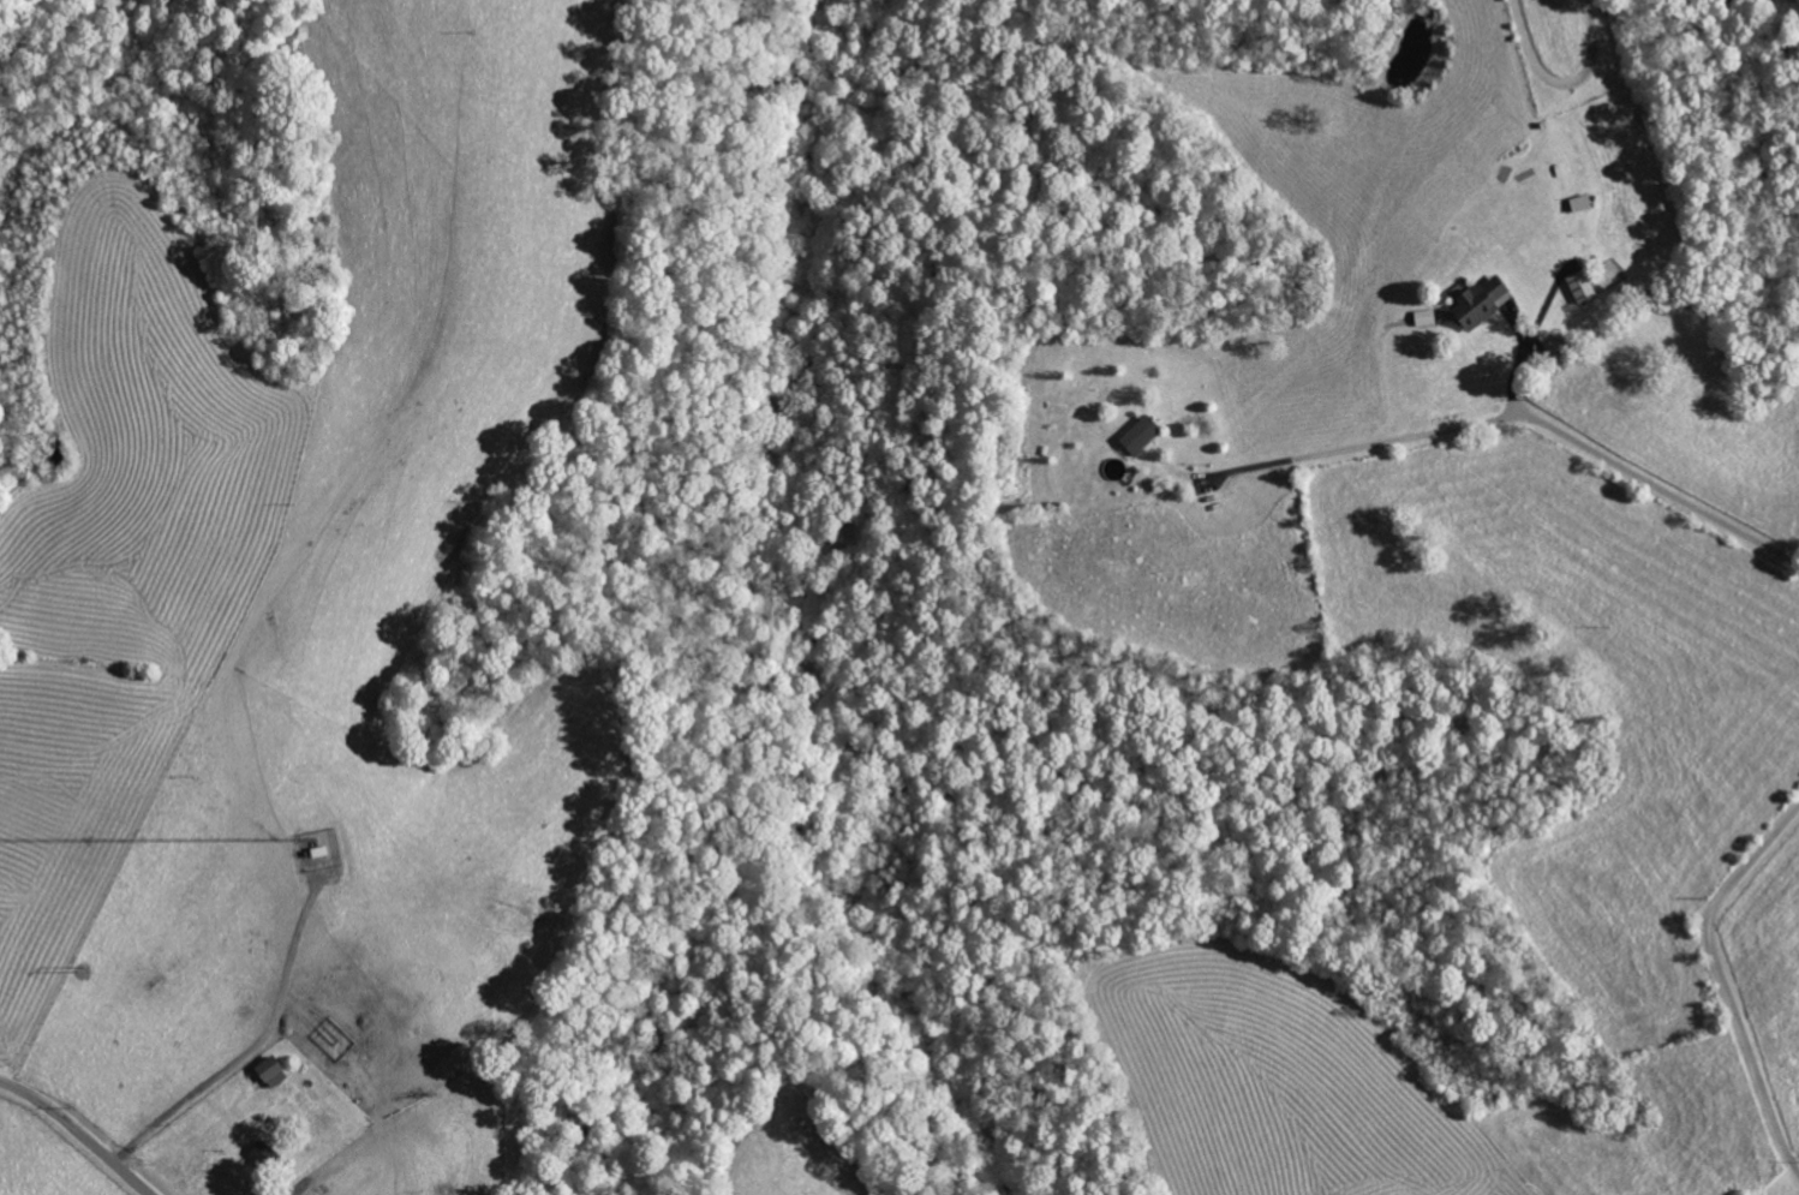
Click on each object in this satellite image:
building: (1576, 287)
building: (1472, 305)
building: (1423, 318)
building: (1136, 436)
building: (276, 1071)
road: (78, 1135)
building: (267, 1155)

